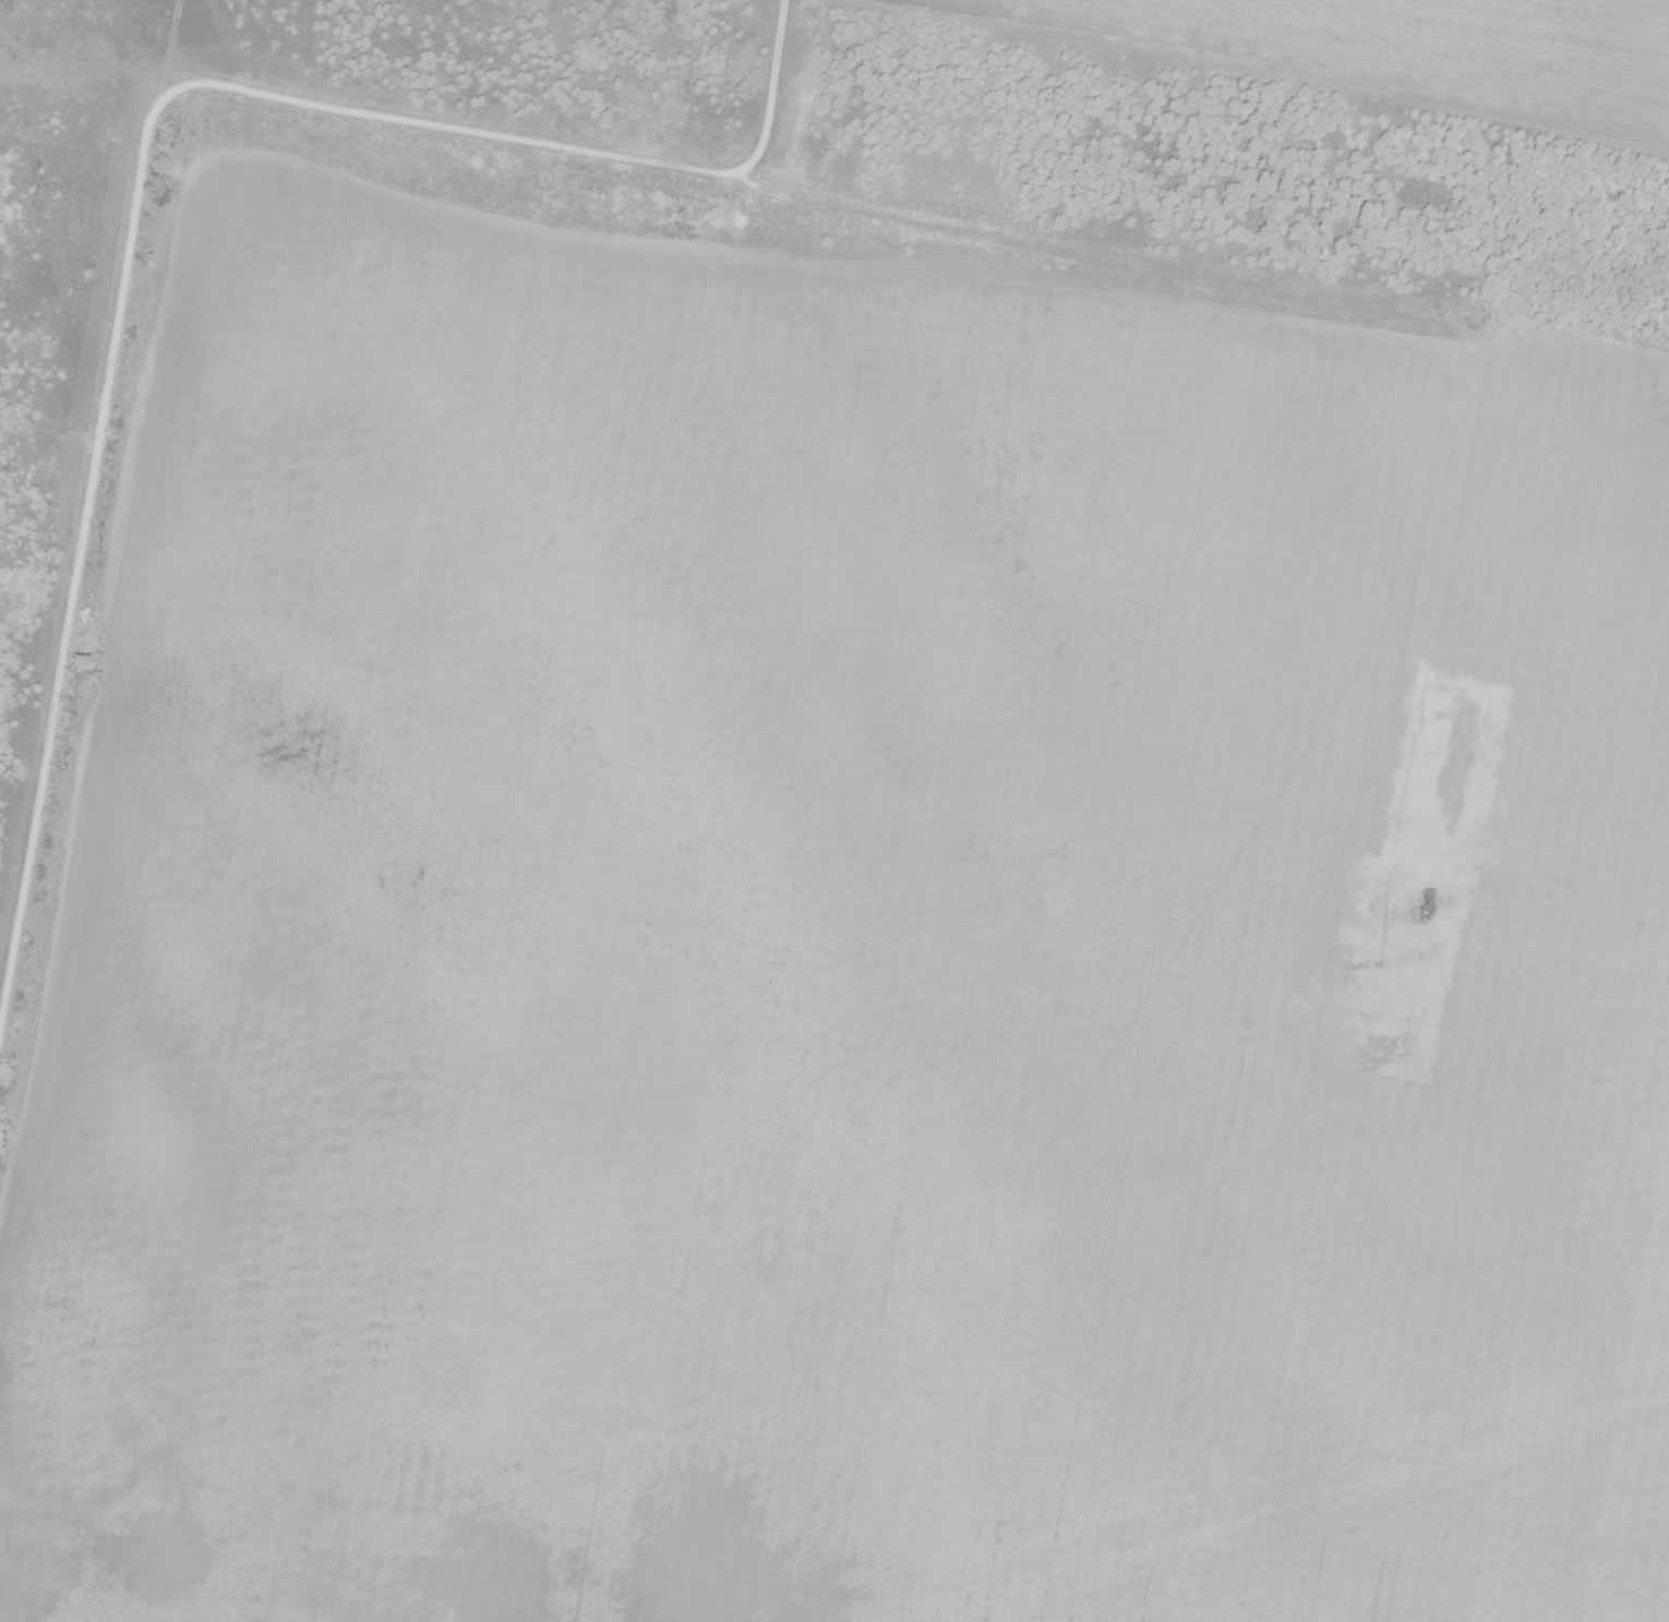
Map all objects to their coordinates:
road: (748, 96)
road: (468, 159)
road: (1126, 1497)
road: (50, 1505)

